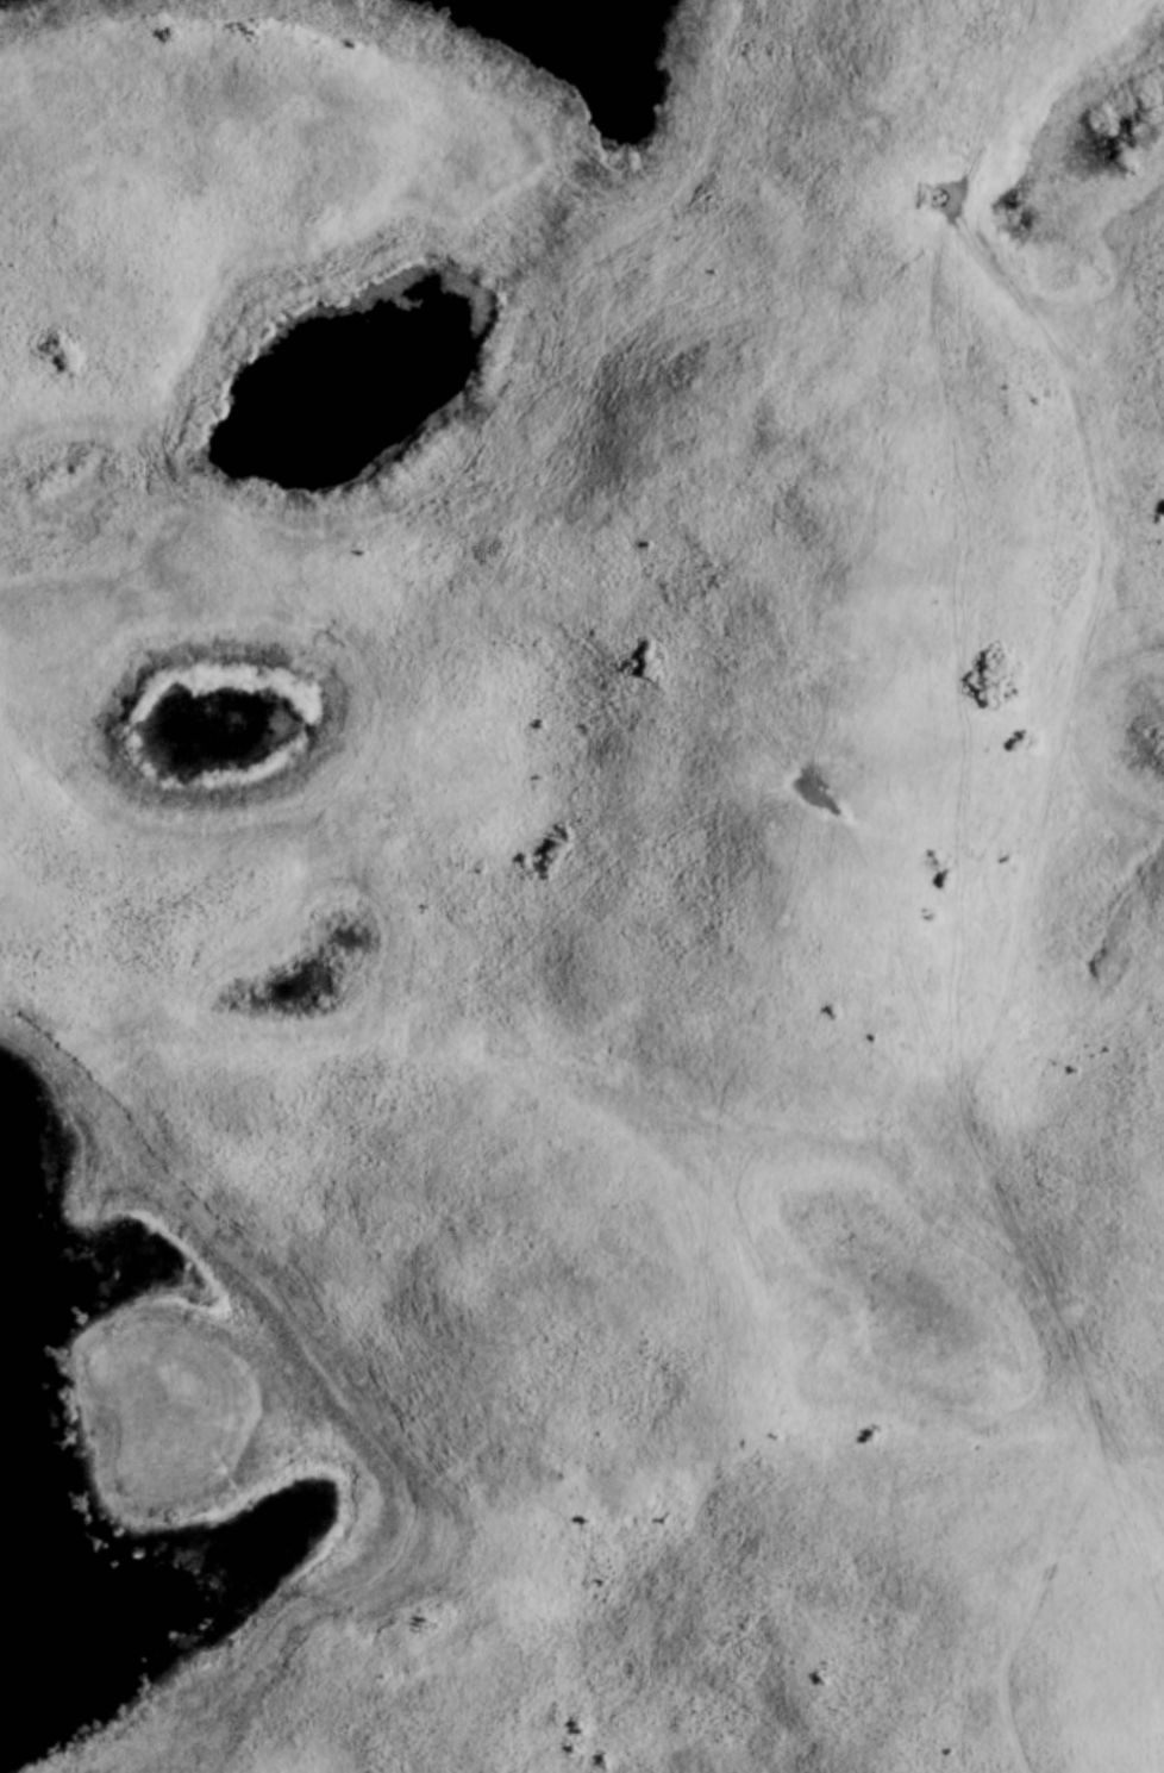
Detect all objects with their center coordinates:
road: (891, 304)
road: (1009, 989)

